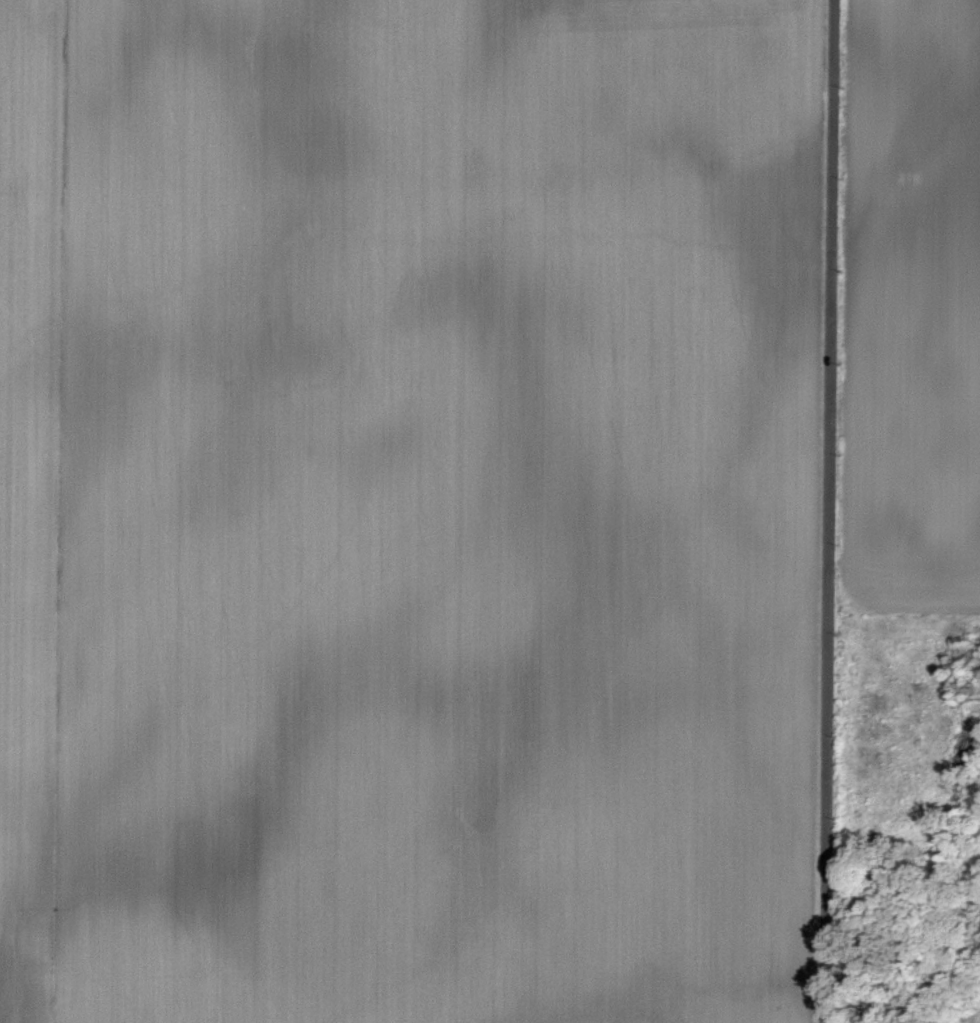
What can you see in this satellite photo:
road: (829, 511)

